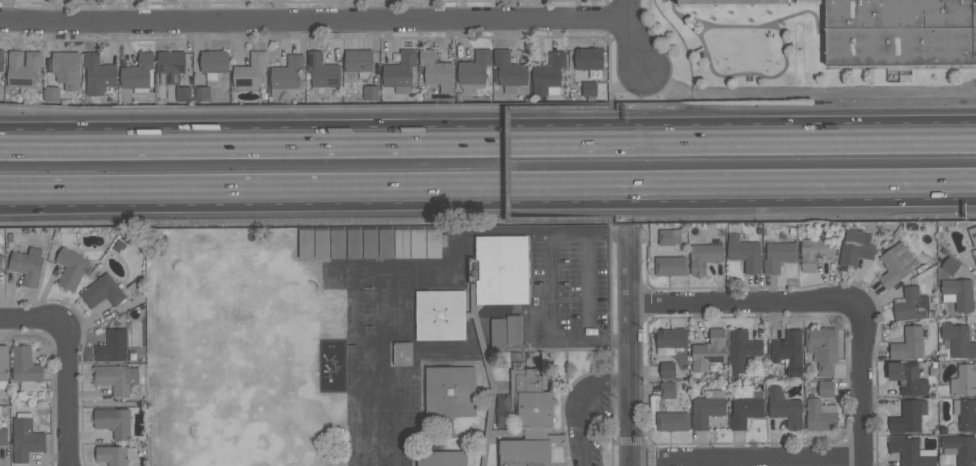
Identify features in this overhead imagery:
building: (729, 1)
road: (314, 21)
building: (899, 32)
road: (634, 36)
building: (1, 59)
building: (589, 60)
building: (359, 62)
building: (213, 63)
building: (170, 65)
building: (23, 70)
building: (322, 70)
building: (250, 71)
building: (436, 71)
building: (473, 71)
building: (510, 71)
building: (67, 72)
building: (401, 72)
building: (139, 73)
building: (98, 74)
building: (285, 75)
building: (548, 75)
building: (589, 88)
building: (370, 92)
building: (202, 93)
building: (51, 94)
building: (183, 94)
road: (807, 94)
road: (590, 109)
road: (488, 134)
road: (511, 165)
road: (488, 194)
road: (580, 221)
building: (972, 234)
building: (669, 237)
building: (386, 242)
building: (402, 242)
building: (306, 243)
building: (321, 243)
building: (337, 243)
building: (353, 243)
building: (370, 243)
building: (418, 243)
building: (433, 243)
building: (855, 248)
building: (703, 252)
building: (744, 252)
building: (814, 252)
building: (778, 255)
building: (975, 257)
building: (1, 262)
building: (896, 264)
building: (27, 265)
building: (950, 265)
building: (671, 266)
building: (71, 268)
building: (499, 269)
road: (547, 281)
building: (102, 292)
building: (958, 293)
building: (911, 304)
road: (823, 308)
building: (440, 315)
building: (514, 330)
building: (498, 332)
building: (670, 340)
building: (958, 340)
building: (908, 344)
building: (113, 346)
building: (742, 348)
building: (822, 348)
building: (708, 351)
building: (788, 351)
building: (402, 353)
road: (636, 354)
building: (516, 360)
road: (66, 365)
building: (3, 366)
building: (25, 368)
building: (667, 370)
building: (908, 377)
building: (116, 378)
building: (964, 379)
building: (825, 389)
building: (668, 390)
building: (450, 391)
road: (578, 401)
building: (707, 408)
building: (784, 408)
building: (745, 411)
building: (965, 413)
building: (820, 415)
building: (908, 416)
building: (528, 420)
building: (672, 421)
building: (113, 422)
building: (3, 435)
building: (25, 438)
building: (960, 449)
building: (911, 451)
building: (112, 455)
building: (441, 458)
road: (748, 461)

